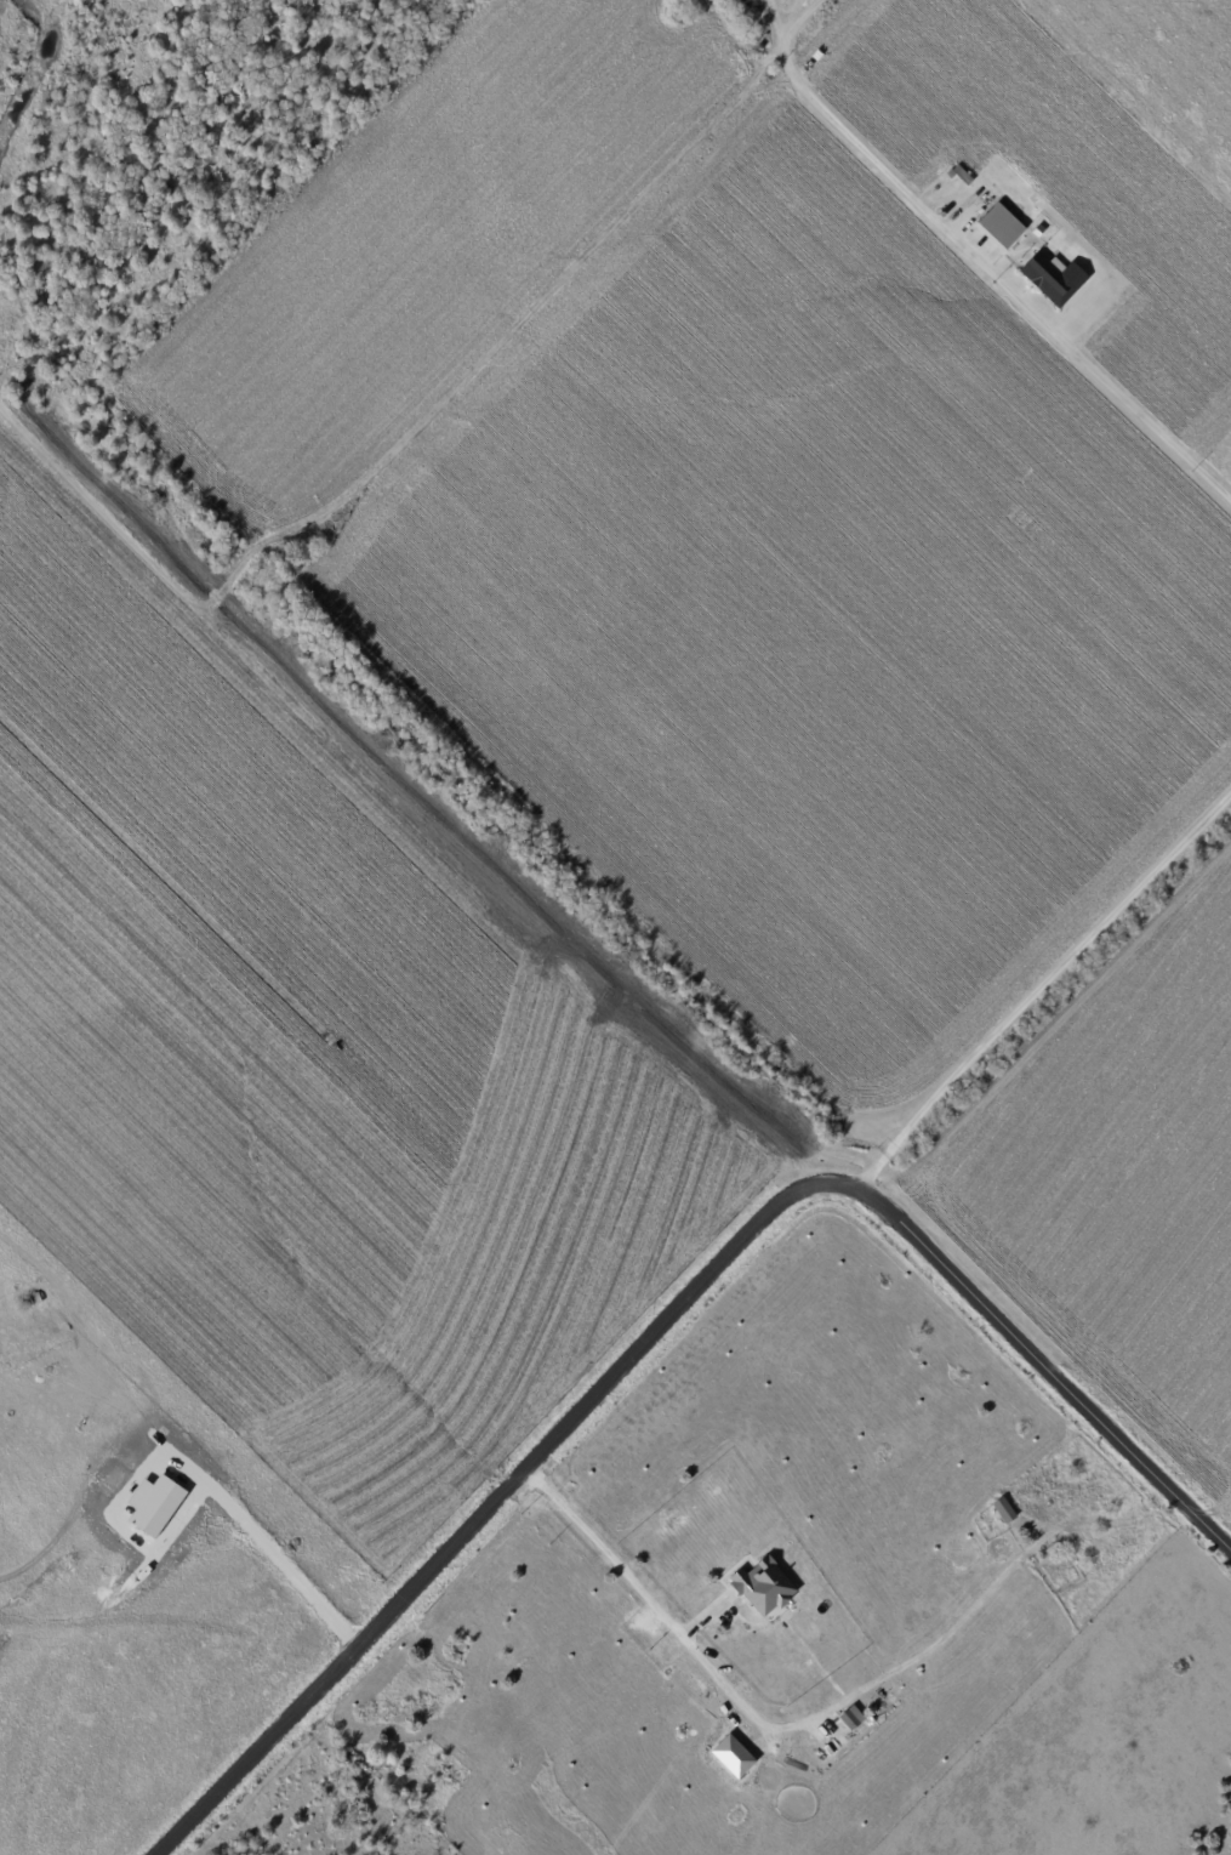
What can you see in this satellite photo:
building: (747, 7)
building: (1001, 229)
road: (980, 262)
building: (1042, 271)
road: (1042, 986)
road: (678, 1310)
building: (1004, 1510)
road: (193, 1514)
building: (768, 1586)
building: (855, 1718)

